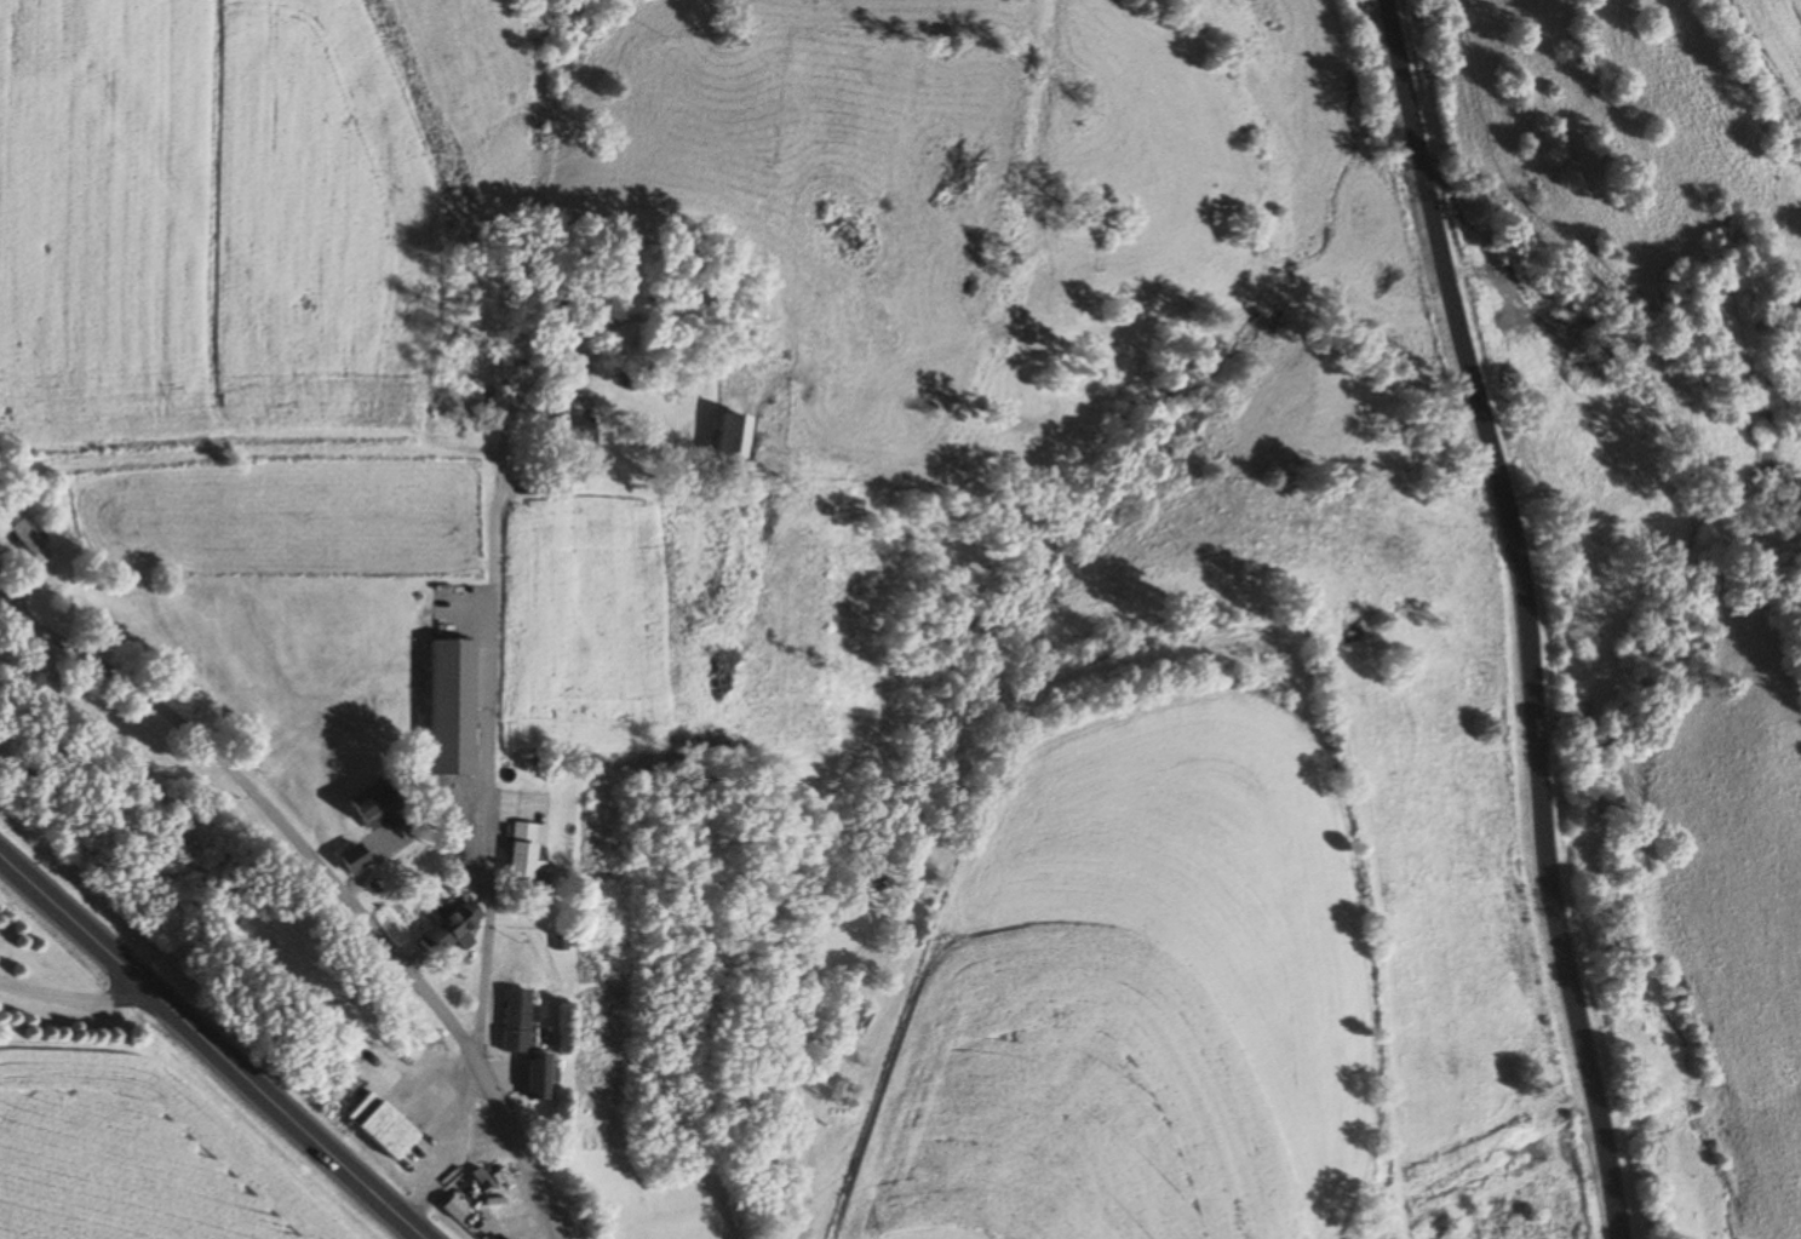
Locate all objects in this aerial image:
building: (646, 384)
building: (750, 438)
building: (22, 527)
road: (1524, 615)
building: (459, 707)
road: (488, 773)
building: (383, 805)
building: (528, 851)
building: (359, 857)
road: (328, 878)
building: (454, 925)
road: (81, 998)
building: (524, 1019)
road: (213, 1044)
building: (547, 1075)
building: (390, 1126)

